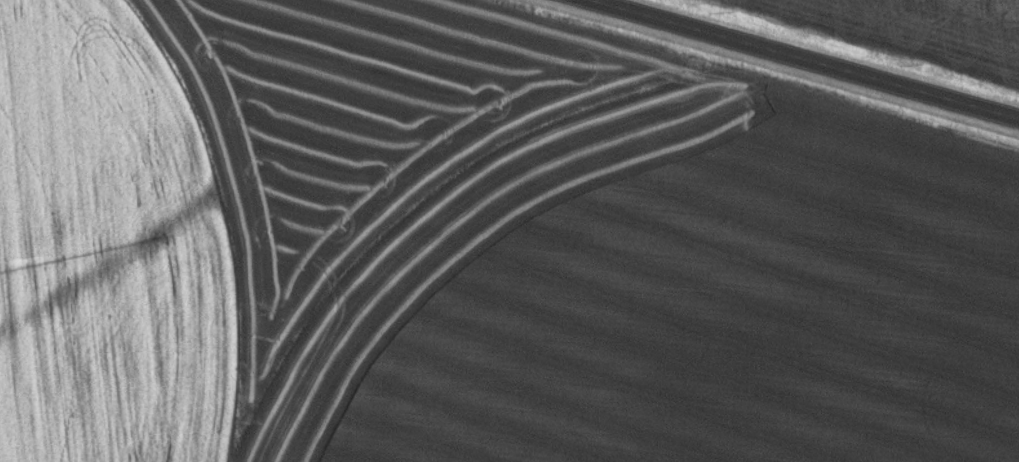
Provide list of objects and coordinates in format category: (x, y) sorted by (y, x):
road: (807, 58)

